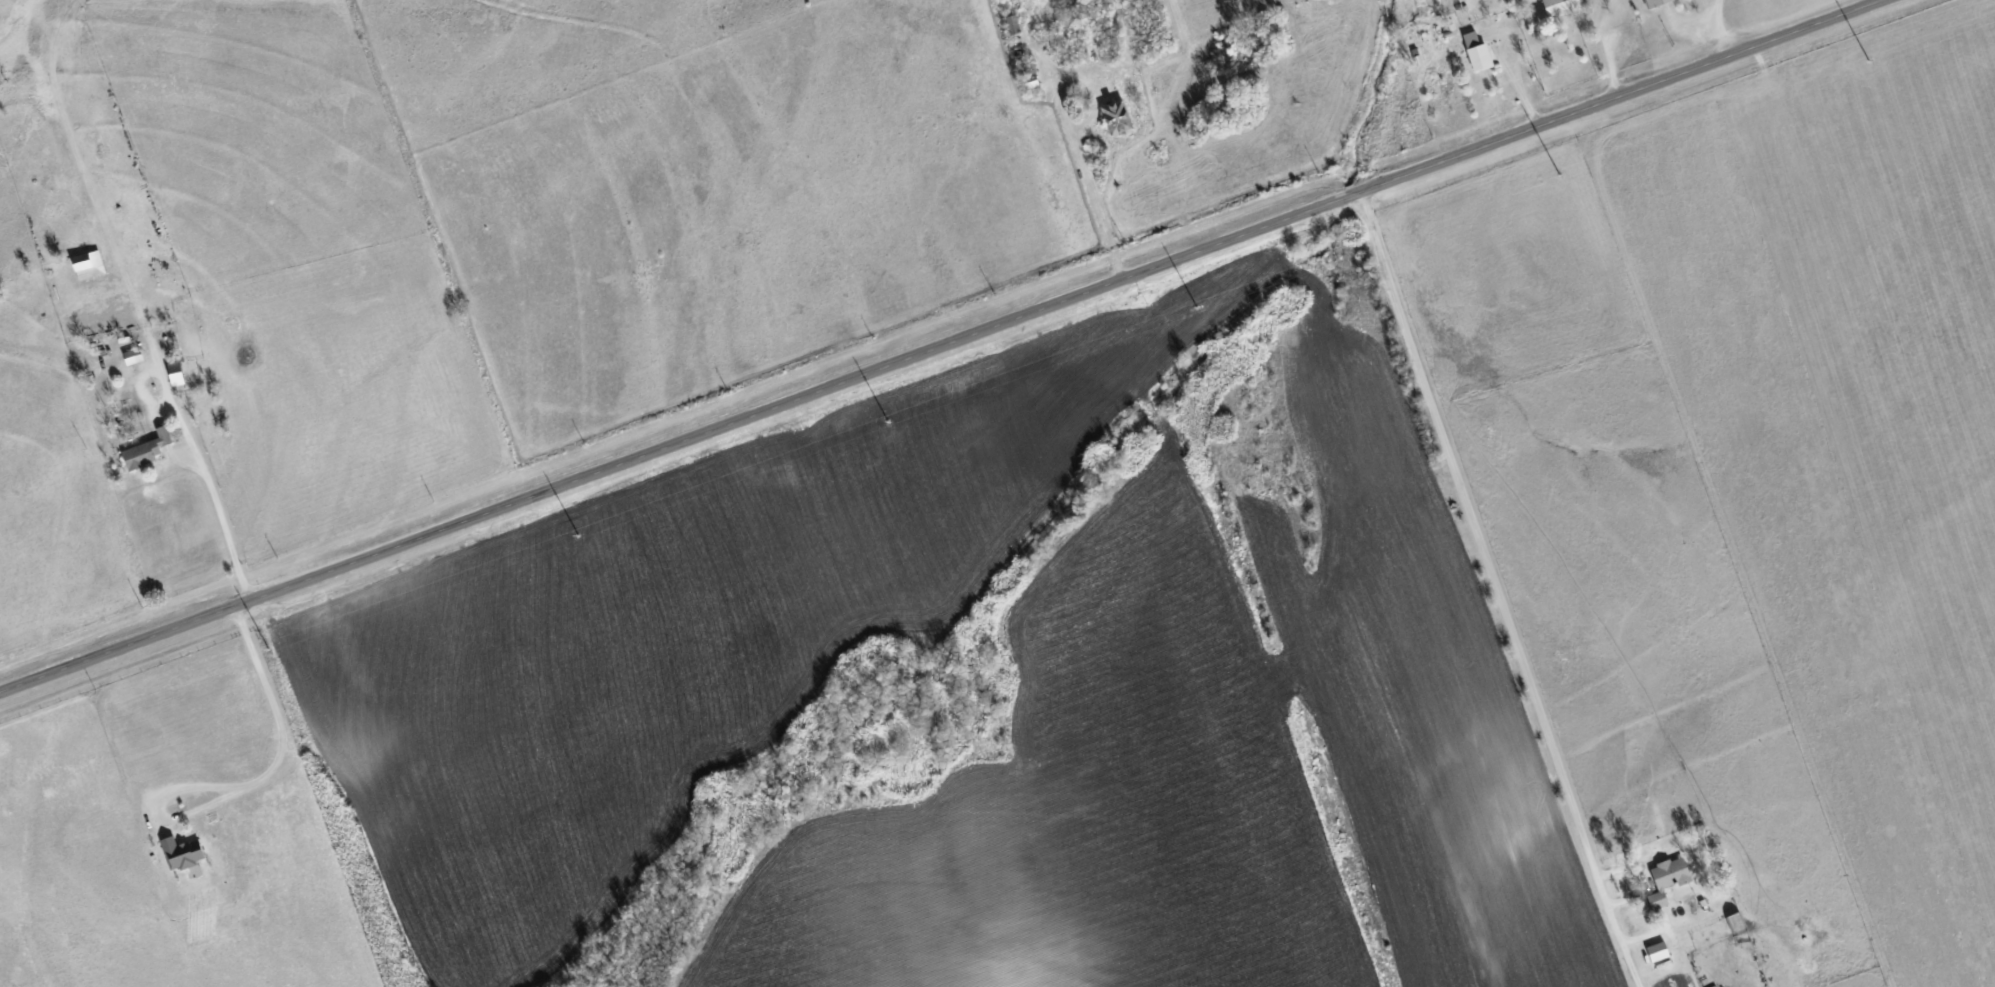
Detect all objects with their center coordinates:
building: (1655, 2)
building: (1559, 5)
road: (1719, 29)
road: (1495, 51)
building: (1478, 56)
power tower: (1868, 61)
building: (1116, 116)
power tower: (1558, 175)
building: (89, 266)
power tower: (1196, 308)
road: (941, 346)
building: (174, 373)
power tower: (886, 421)
building: (146, 449)
road: (220, 520)
power tower: (577, 536)
road: (1495, 591)
power tower: (267, 648)
road: (244, 784)
building: (181, 853)
building: (1667, 879)
building: (1657, 951)

